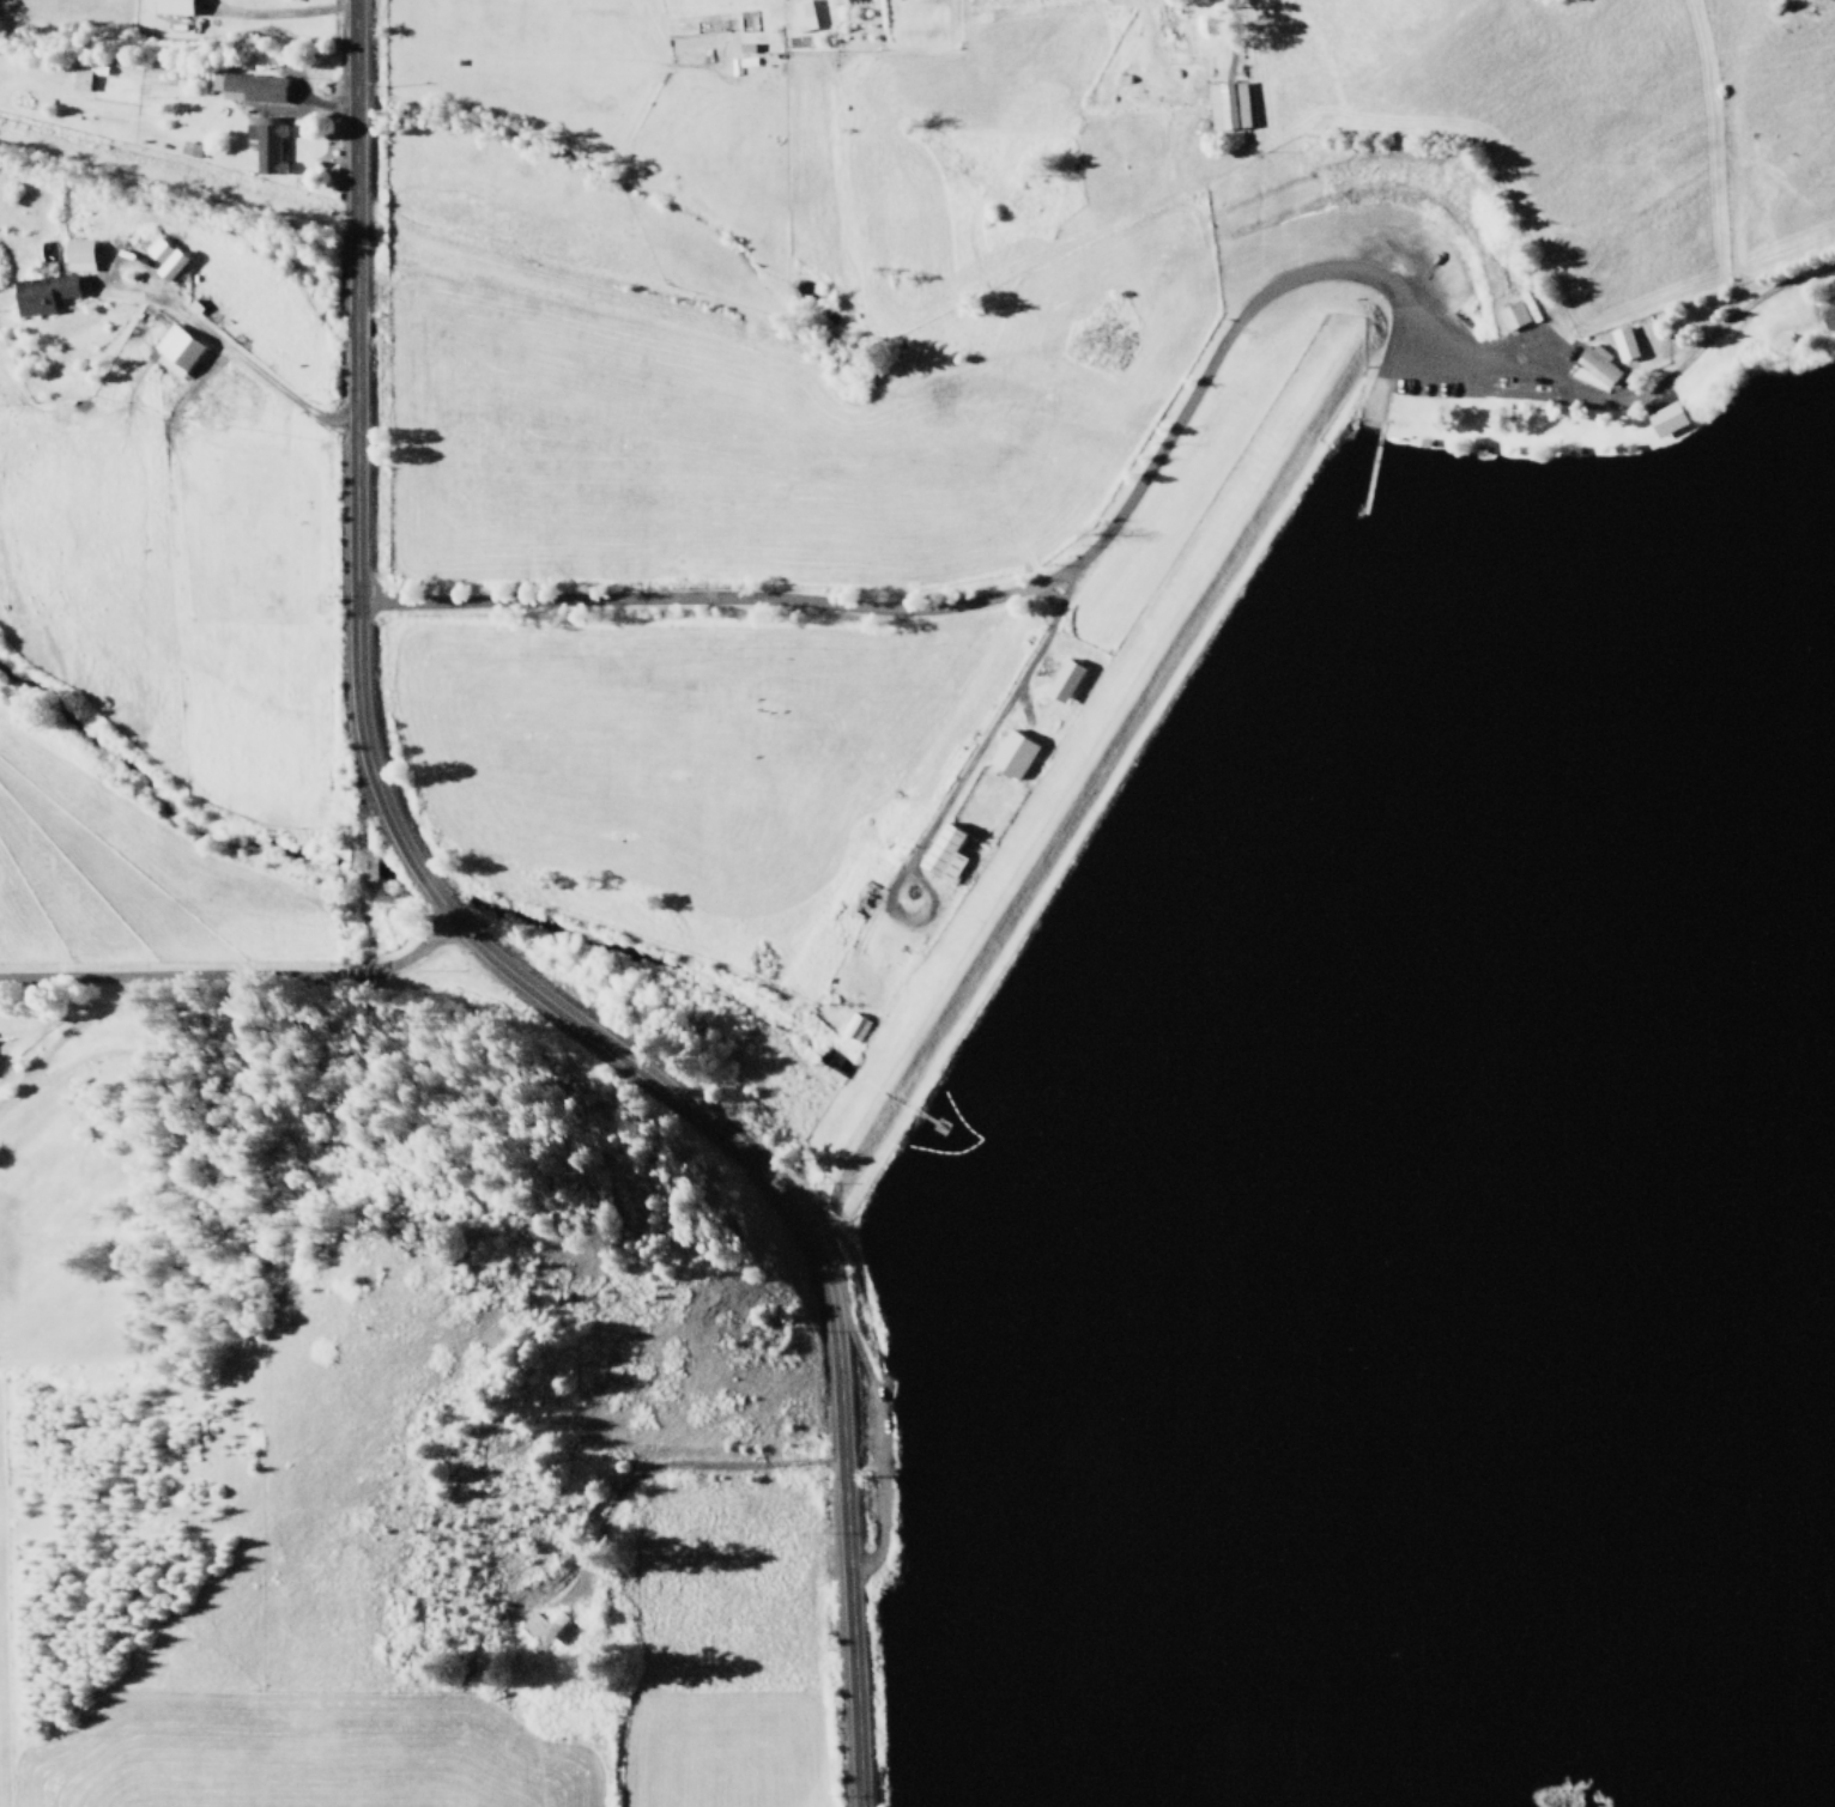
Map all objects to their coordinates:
building: (171, 5)
building: (801, 14)
building: (247, 86)
building: (1227, 103)
building: (264, 141)
building: (77, 253)
building: (163, 256)
building: (41, 291)
building: (1510, 313)
building: (1622, 341)
building: (175, 348)
road: (1380, 360)
building: (1594, 362)
building: (1665, 417)
road: (352, 430)
road: (1149, 451)
building: (1062, 679)
building: (1011, 752)
dam: (1098, 800)
building: (943, 851)
road: (424, 880)
road: (234, 975)
road: (822, 1275)
building: (543, 1627)

